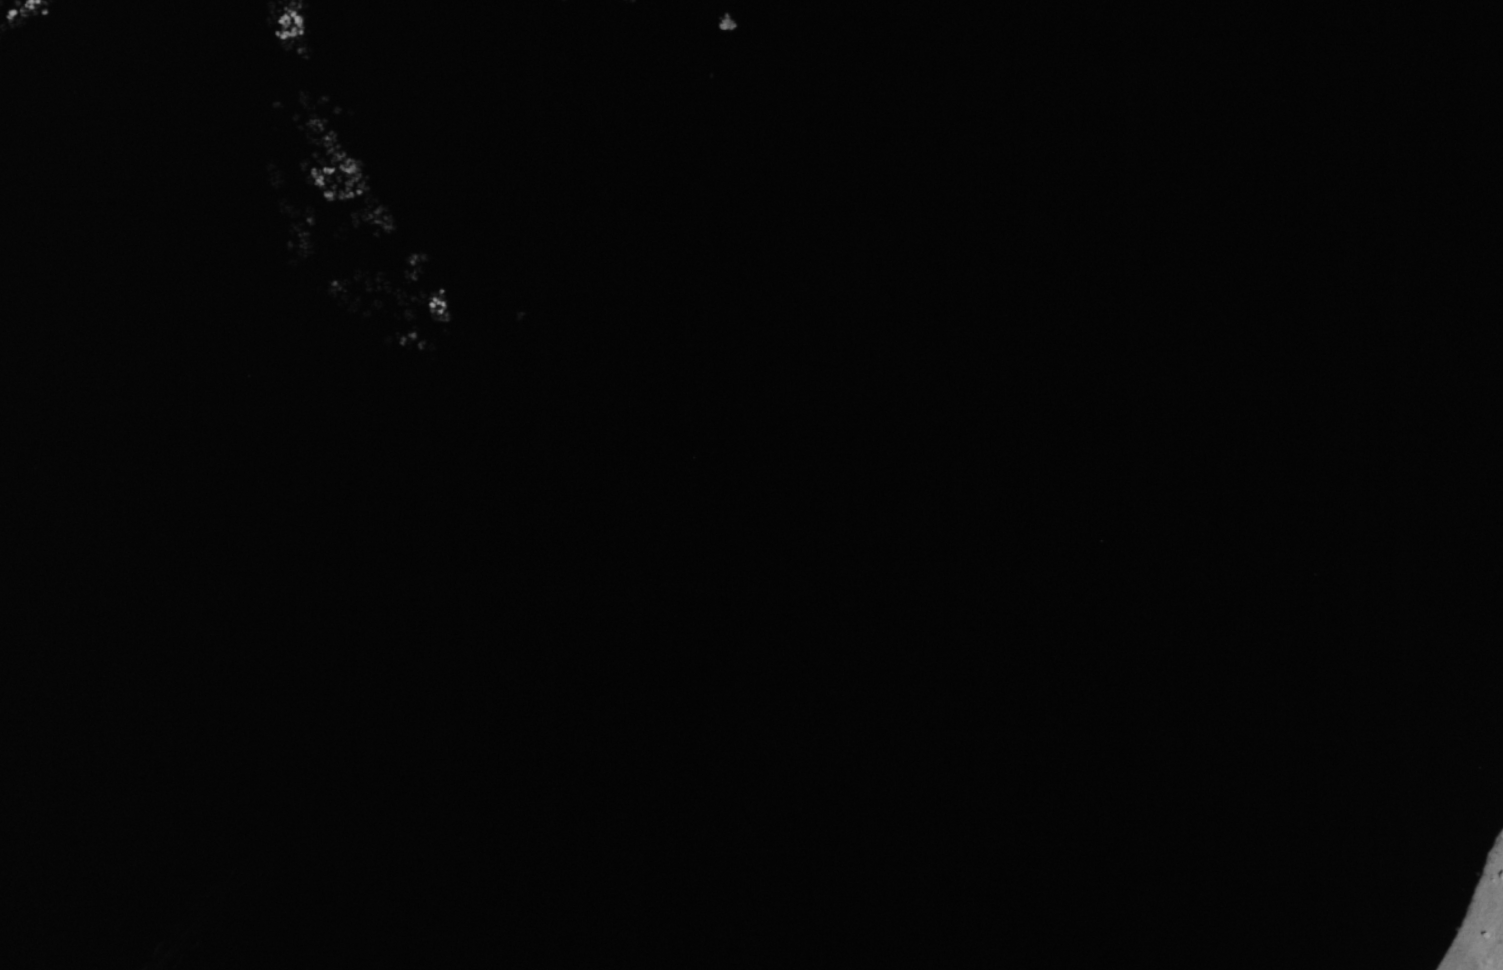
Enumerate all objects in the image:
river: (59, 52)

